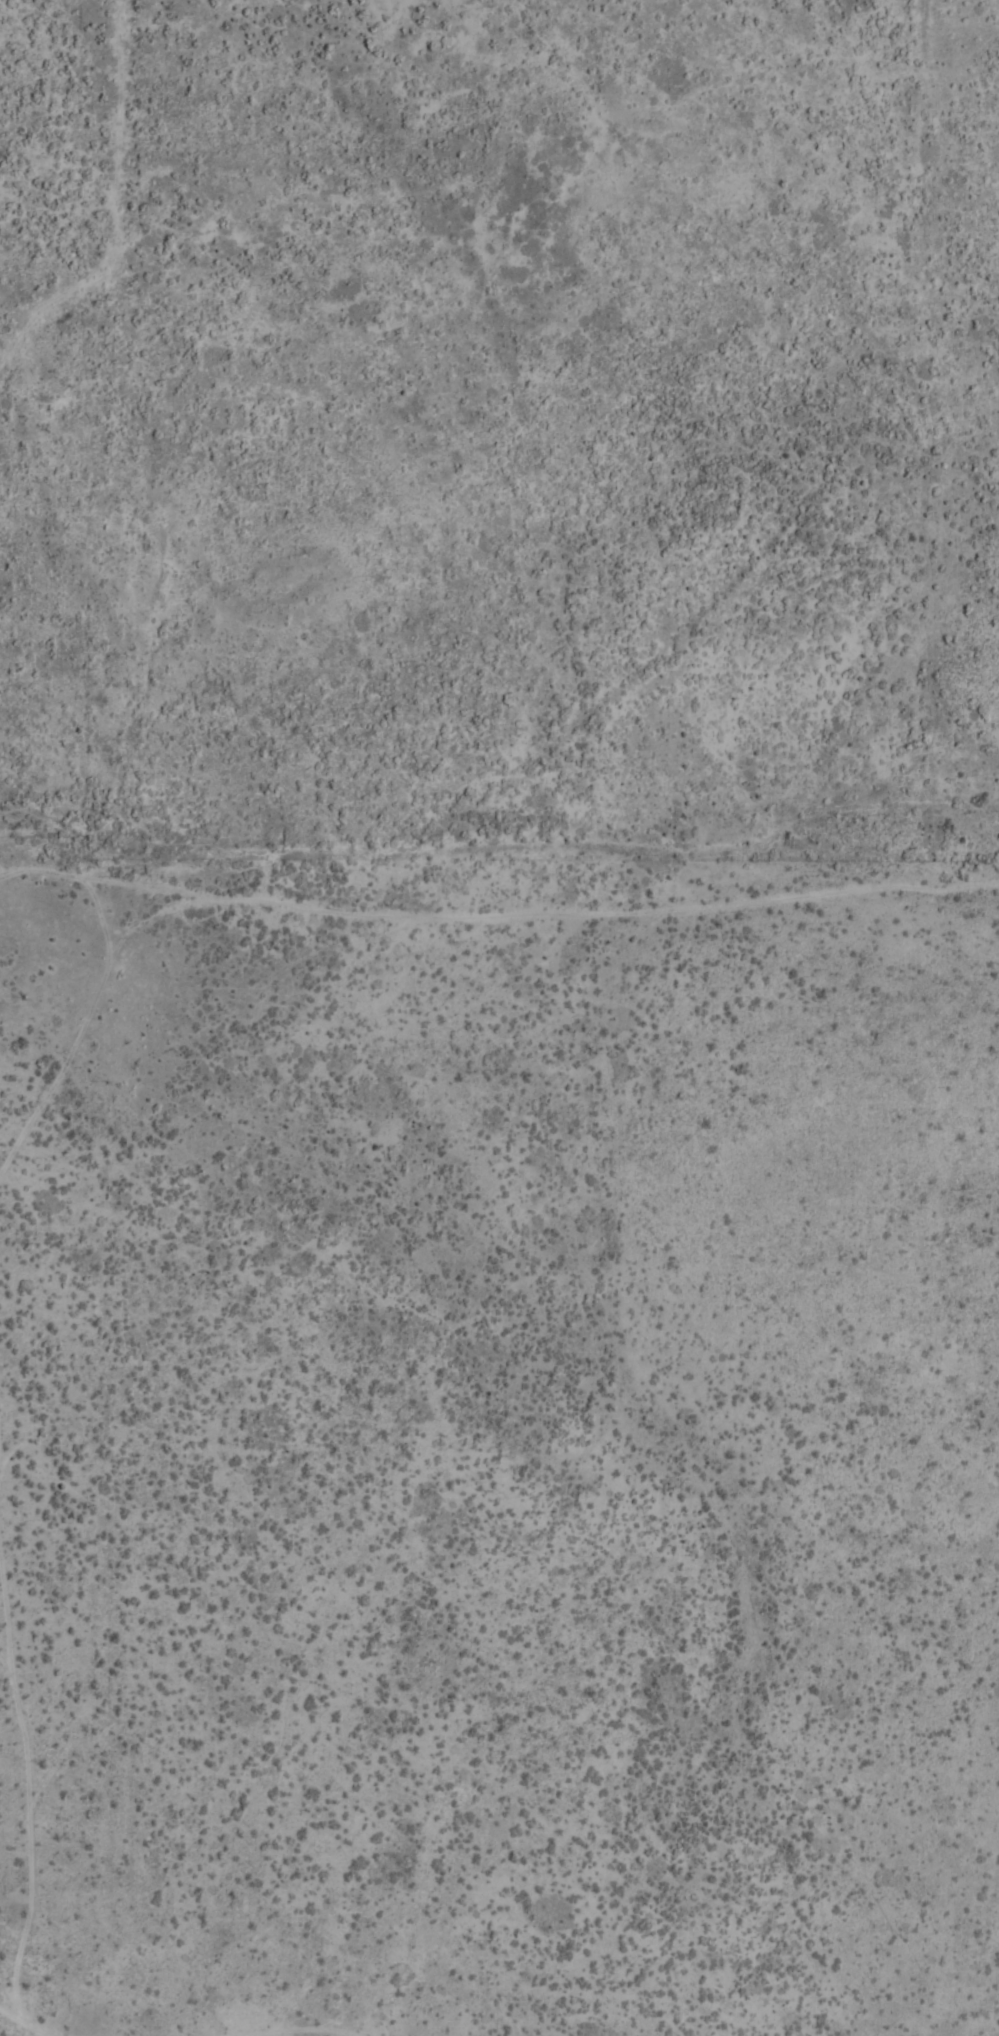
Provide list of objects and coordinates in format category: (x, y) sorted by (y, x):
road: (499, 917)

